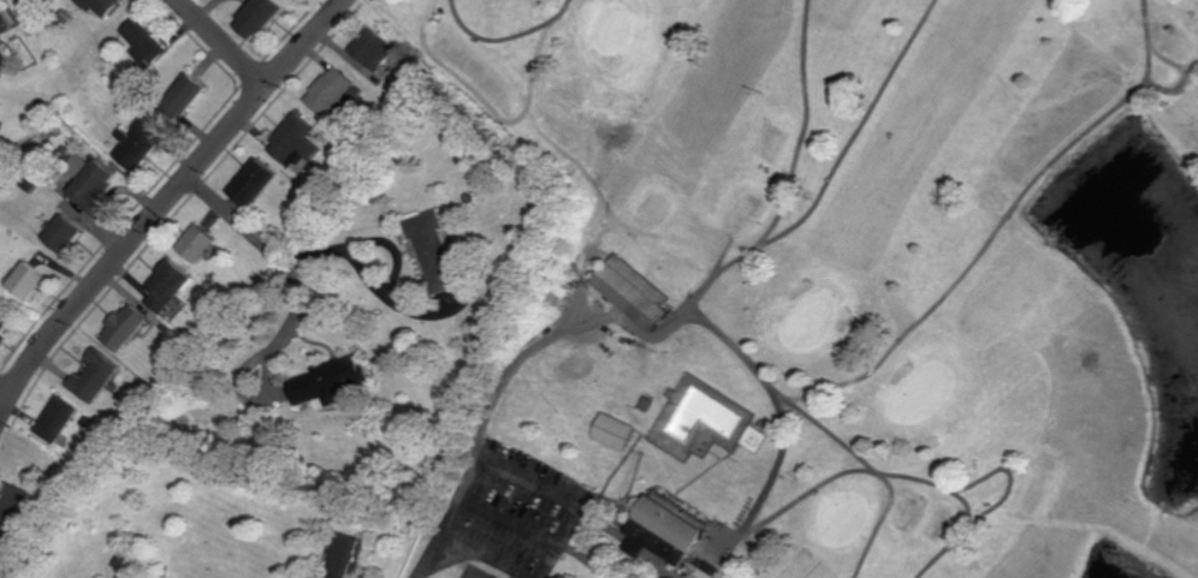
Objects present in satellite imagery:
building: (100, 5)
building: (256, 17)
building: (144, 43)
road: (220, 43)
building: (368, 49)
building: (4, 61)
building: (326, 91)
building: (182, 97)
building: (291, 141)
building: (136, 143)
building: (76, 165)
building: (248, 181)
building: (91, 184)
road: (164, 199)
road: (238, 221)
building: (59, 233)
building: (194, 242)
building: (432, 250)
building: (23, 280)
building: (162, 285)
building: (629, 291)
park: (830, 291)
building: (1, 322)
building: (119, 327)
building: (1, 336)
building: (90, 376)
building: (325, 381)
road: (4, 391)
building: (51, 418)
building: (610, 430)
road: (481, 439)
building: (8, 506)
road: (506, 516)
building: (658, 531)
road: (557, 544)
building: (340, 555)
park: (474, 572)

